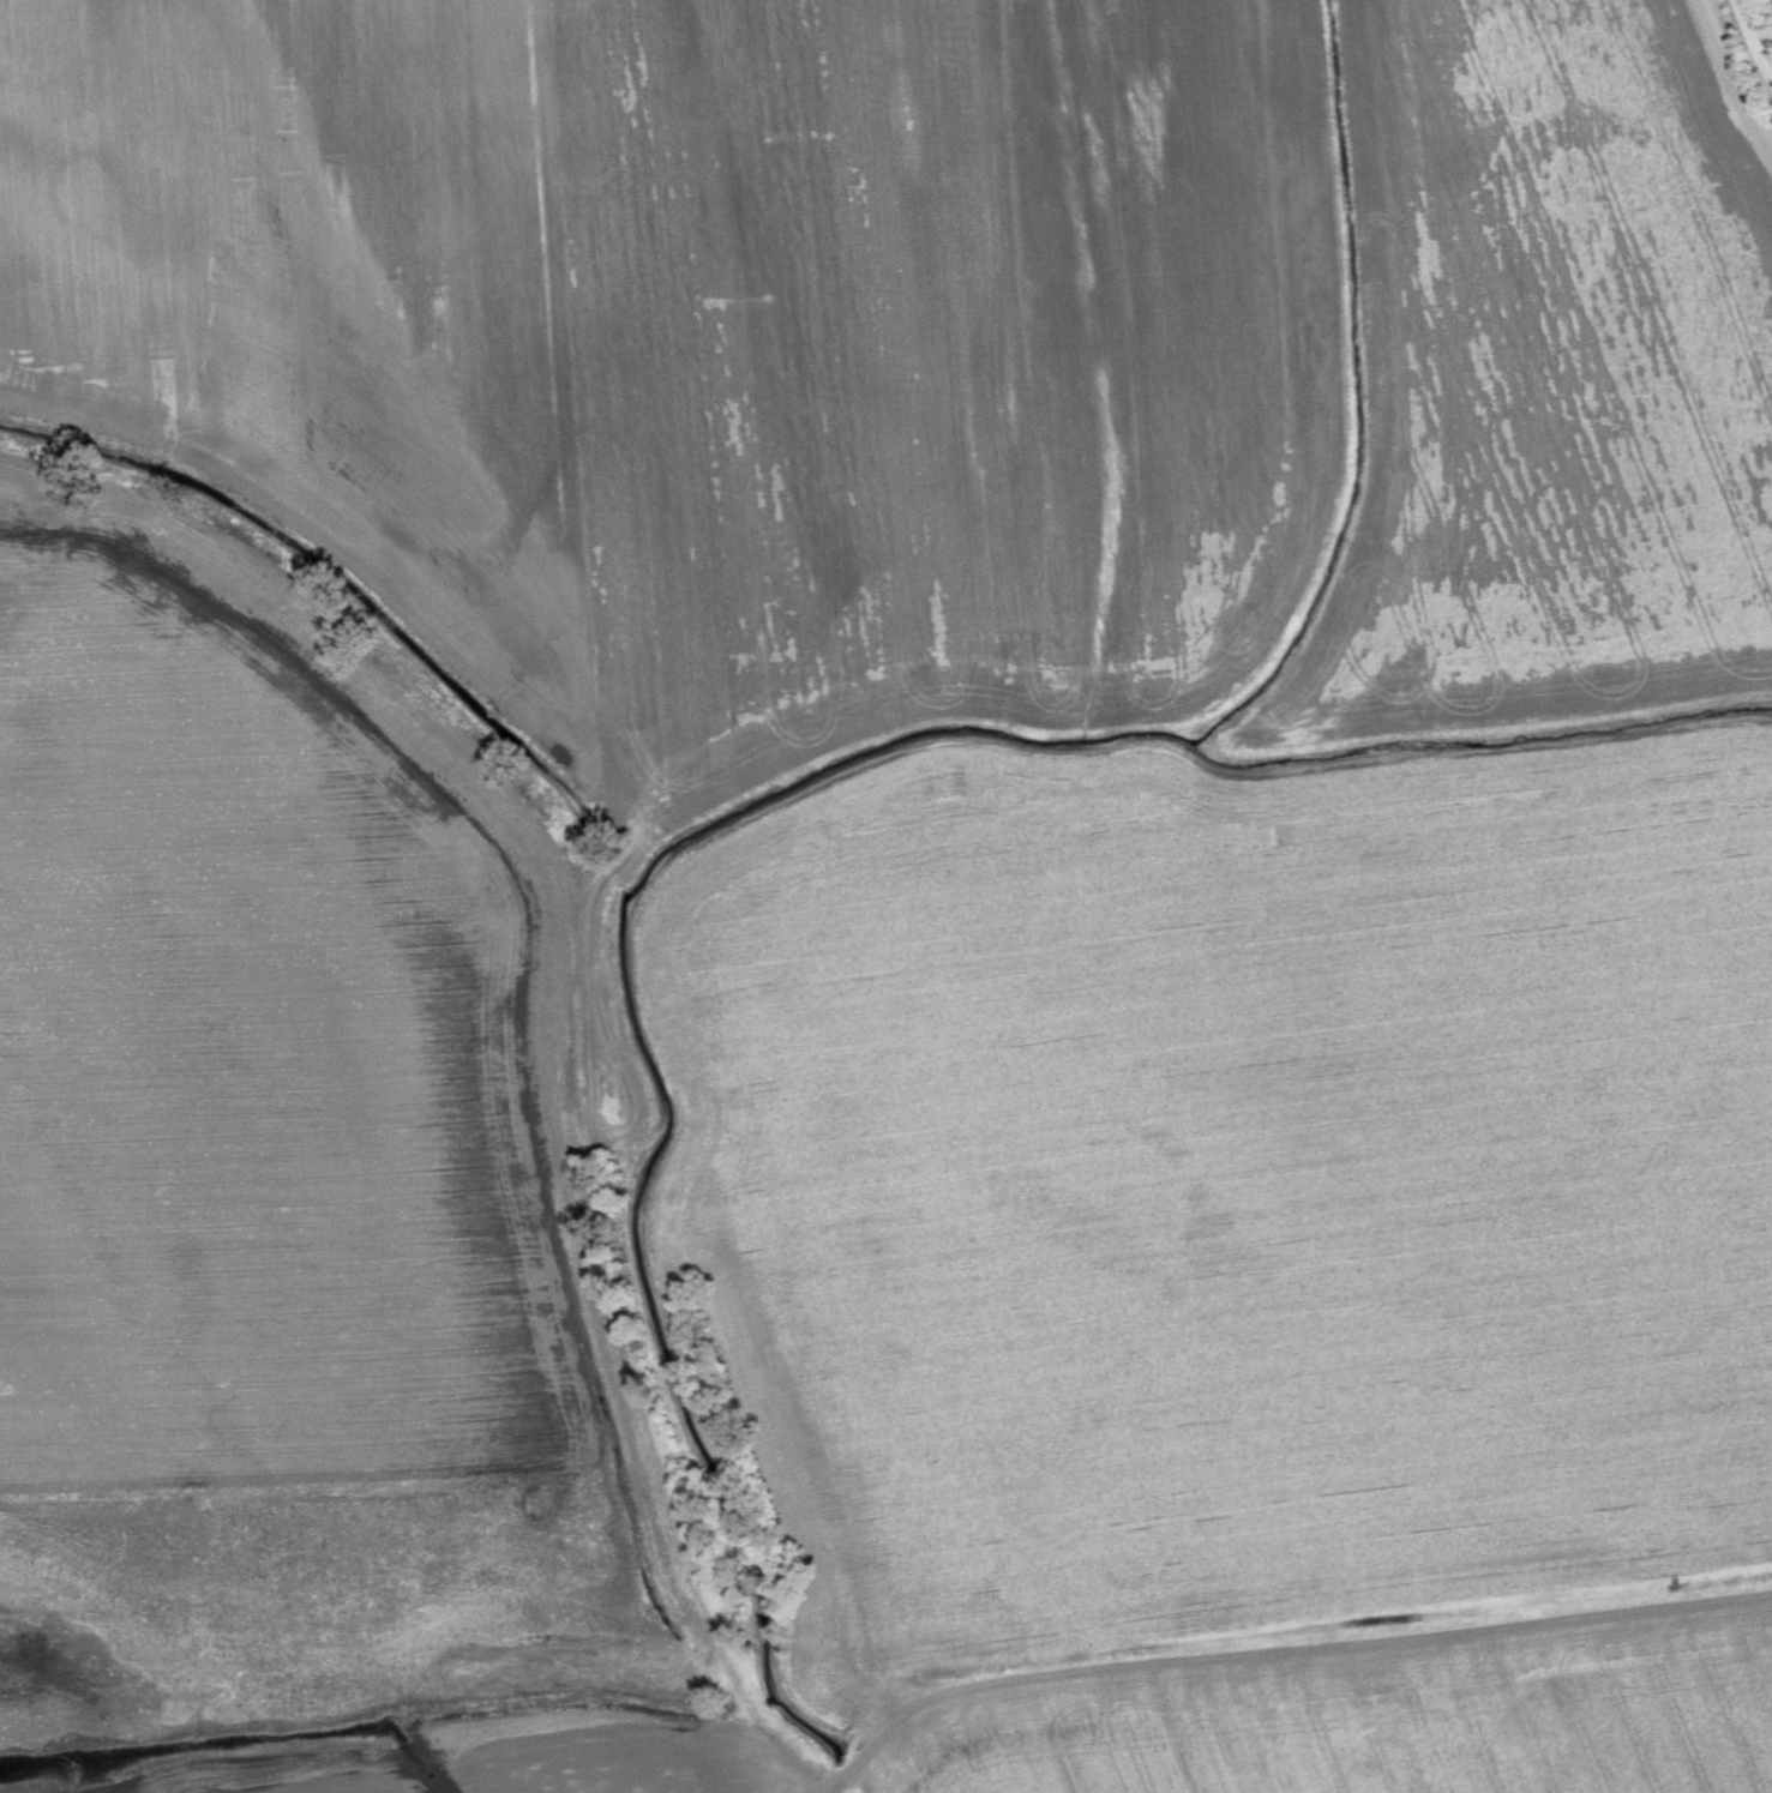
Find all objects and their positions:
road: (1755, 37)
road: (1730, 94)

